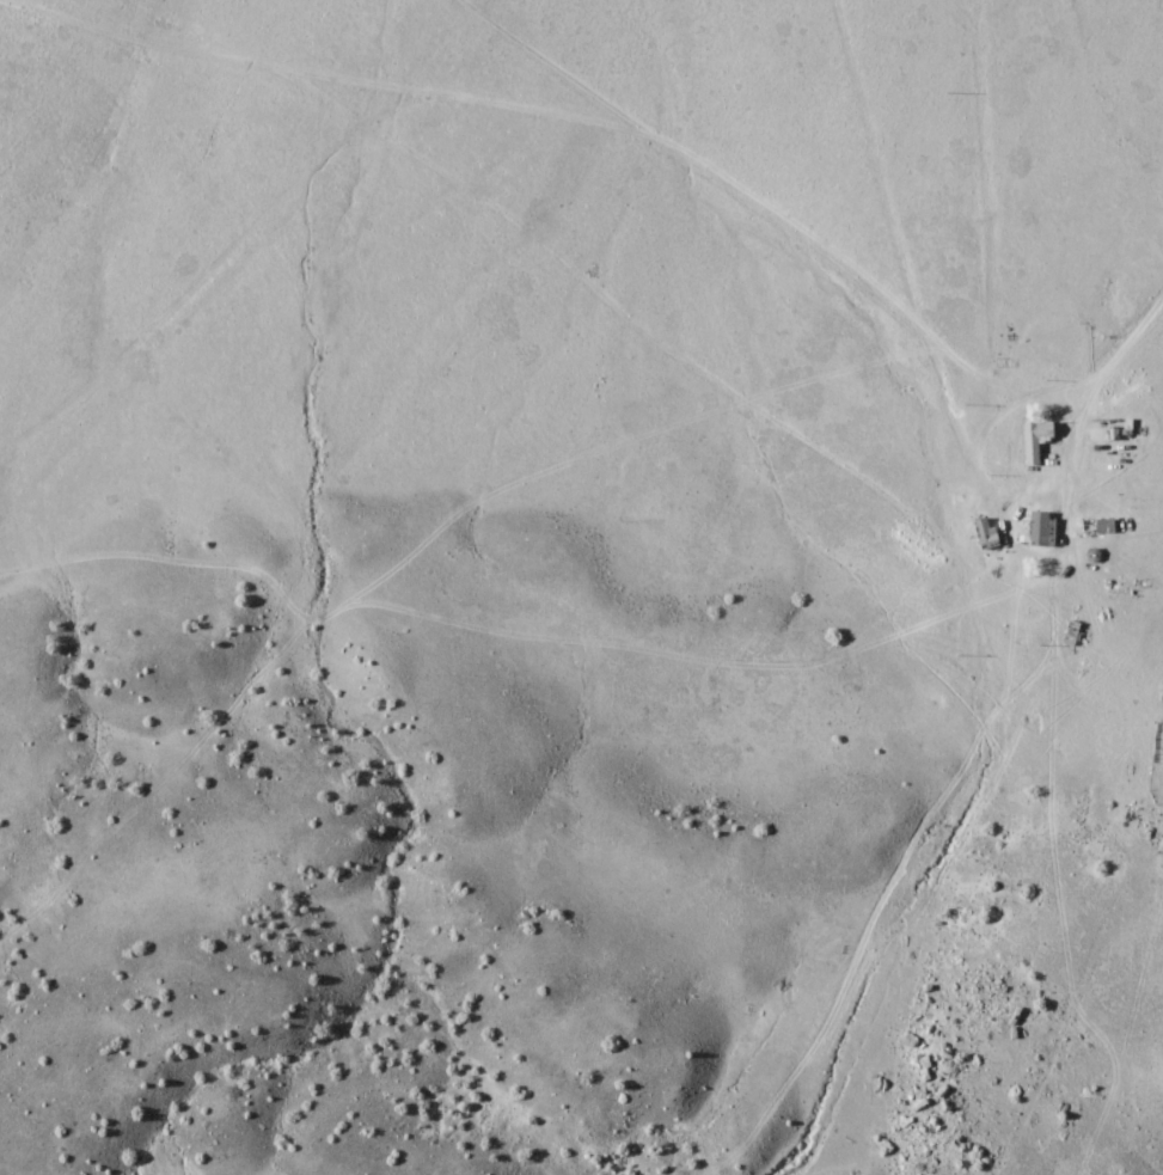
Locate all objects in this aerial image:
road: (331, 75)
road: (691, 157)
road: (877, 160)
road: (241, 257)
road: (1039, 392)
building: (1036, 439)
building: (1106, 525)
building: (1042, 527)
building: (985, 531)
building: (1071, 632)

